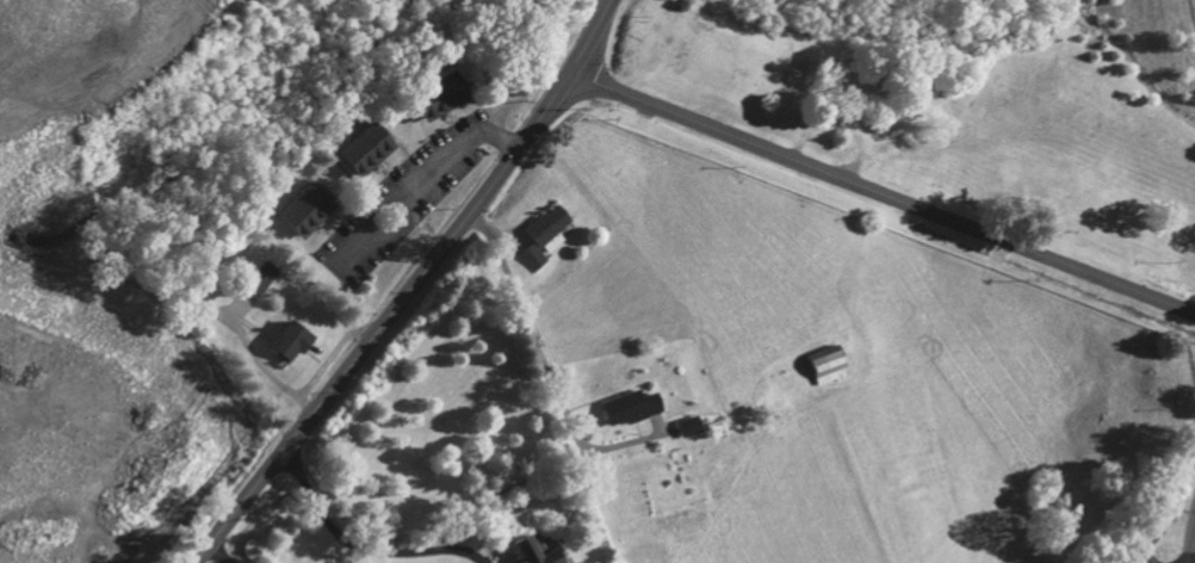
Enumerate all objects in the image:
building: (429, 99)
building: (359, 151)
road: (883, 194)
building: (299, 211)
building: (541, 237)
road: (411, 289)
building: (285, 342)
building: (821, 365)
building: (627, 408)
airport: (1151, 516)
building: (527, 550)
road: (217, 553)

